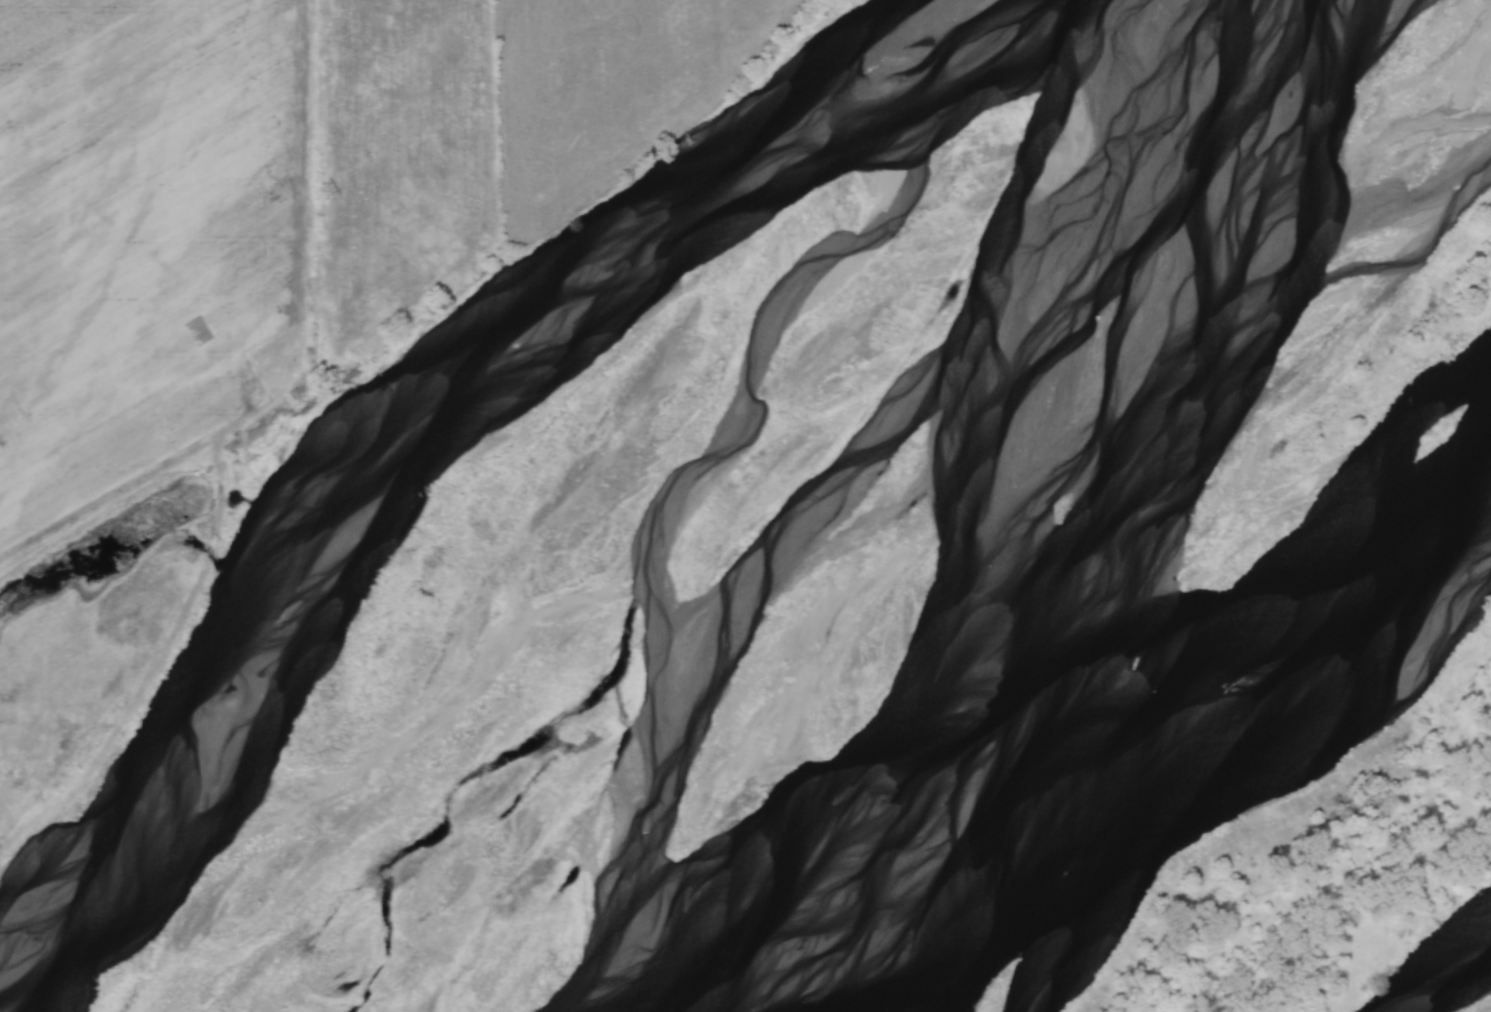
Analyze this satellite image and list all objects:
power tower: (321, 197)
river: (1181, 754)

